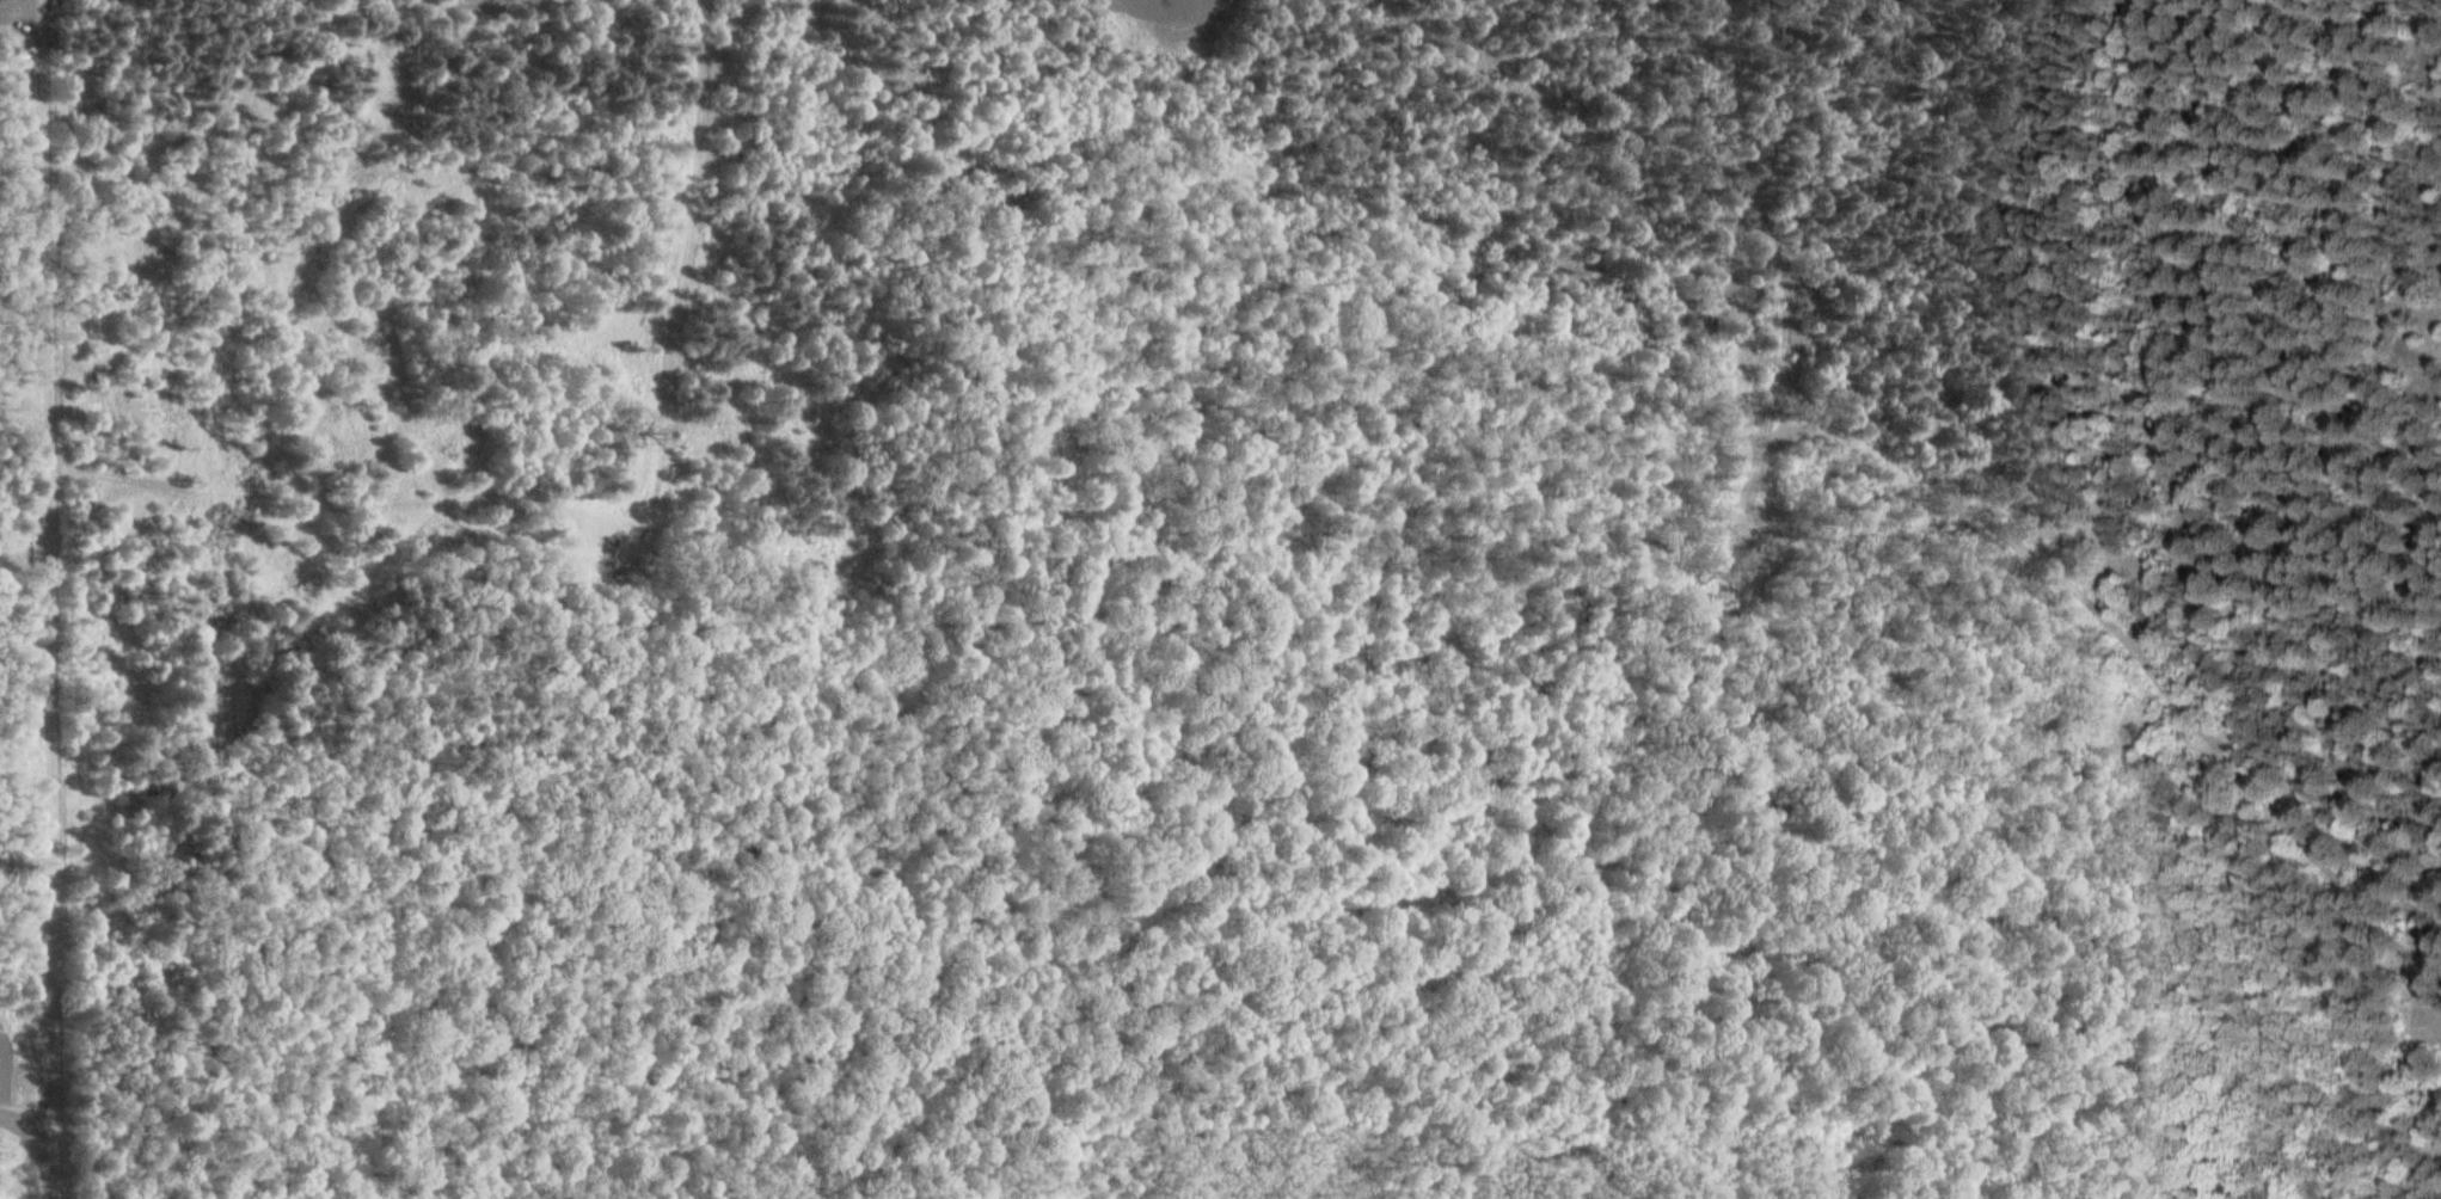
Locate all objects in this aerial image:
road: (615, 531)
road: (1728, 592)
road: (53, 599)
road: (2151, 663)
road: (25, 1117)

